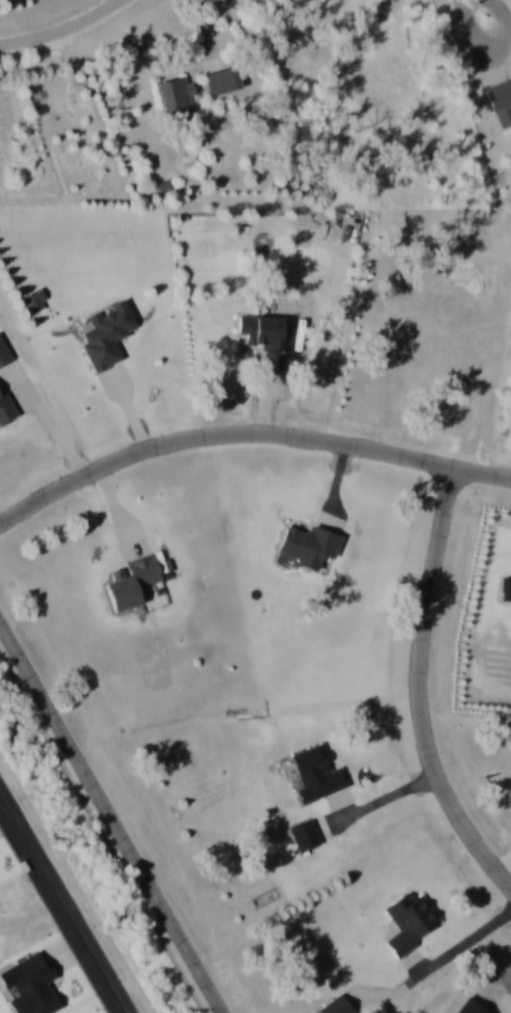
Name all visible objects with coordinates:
road: (64, 31)
building: (170, 99)
building: (497, 105)
building: (264, 335)
building: (99, 337)
building: (2, 358)
building: (3, 414)
road: (247, 438)
building: (309, 546)
building: (136, 587)
road: (417, 690)
building: (316, 776)
road: (110, 820)
building: (305, 836)
road: (64, 900)
building: (410, 923)
road: (436, 969)

